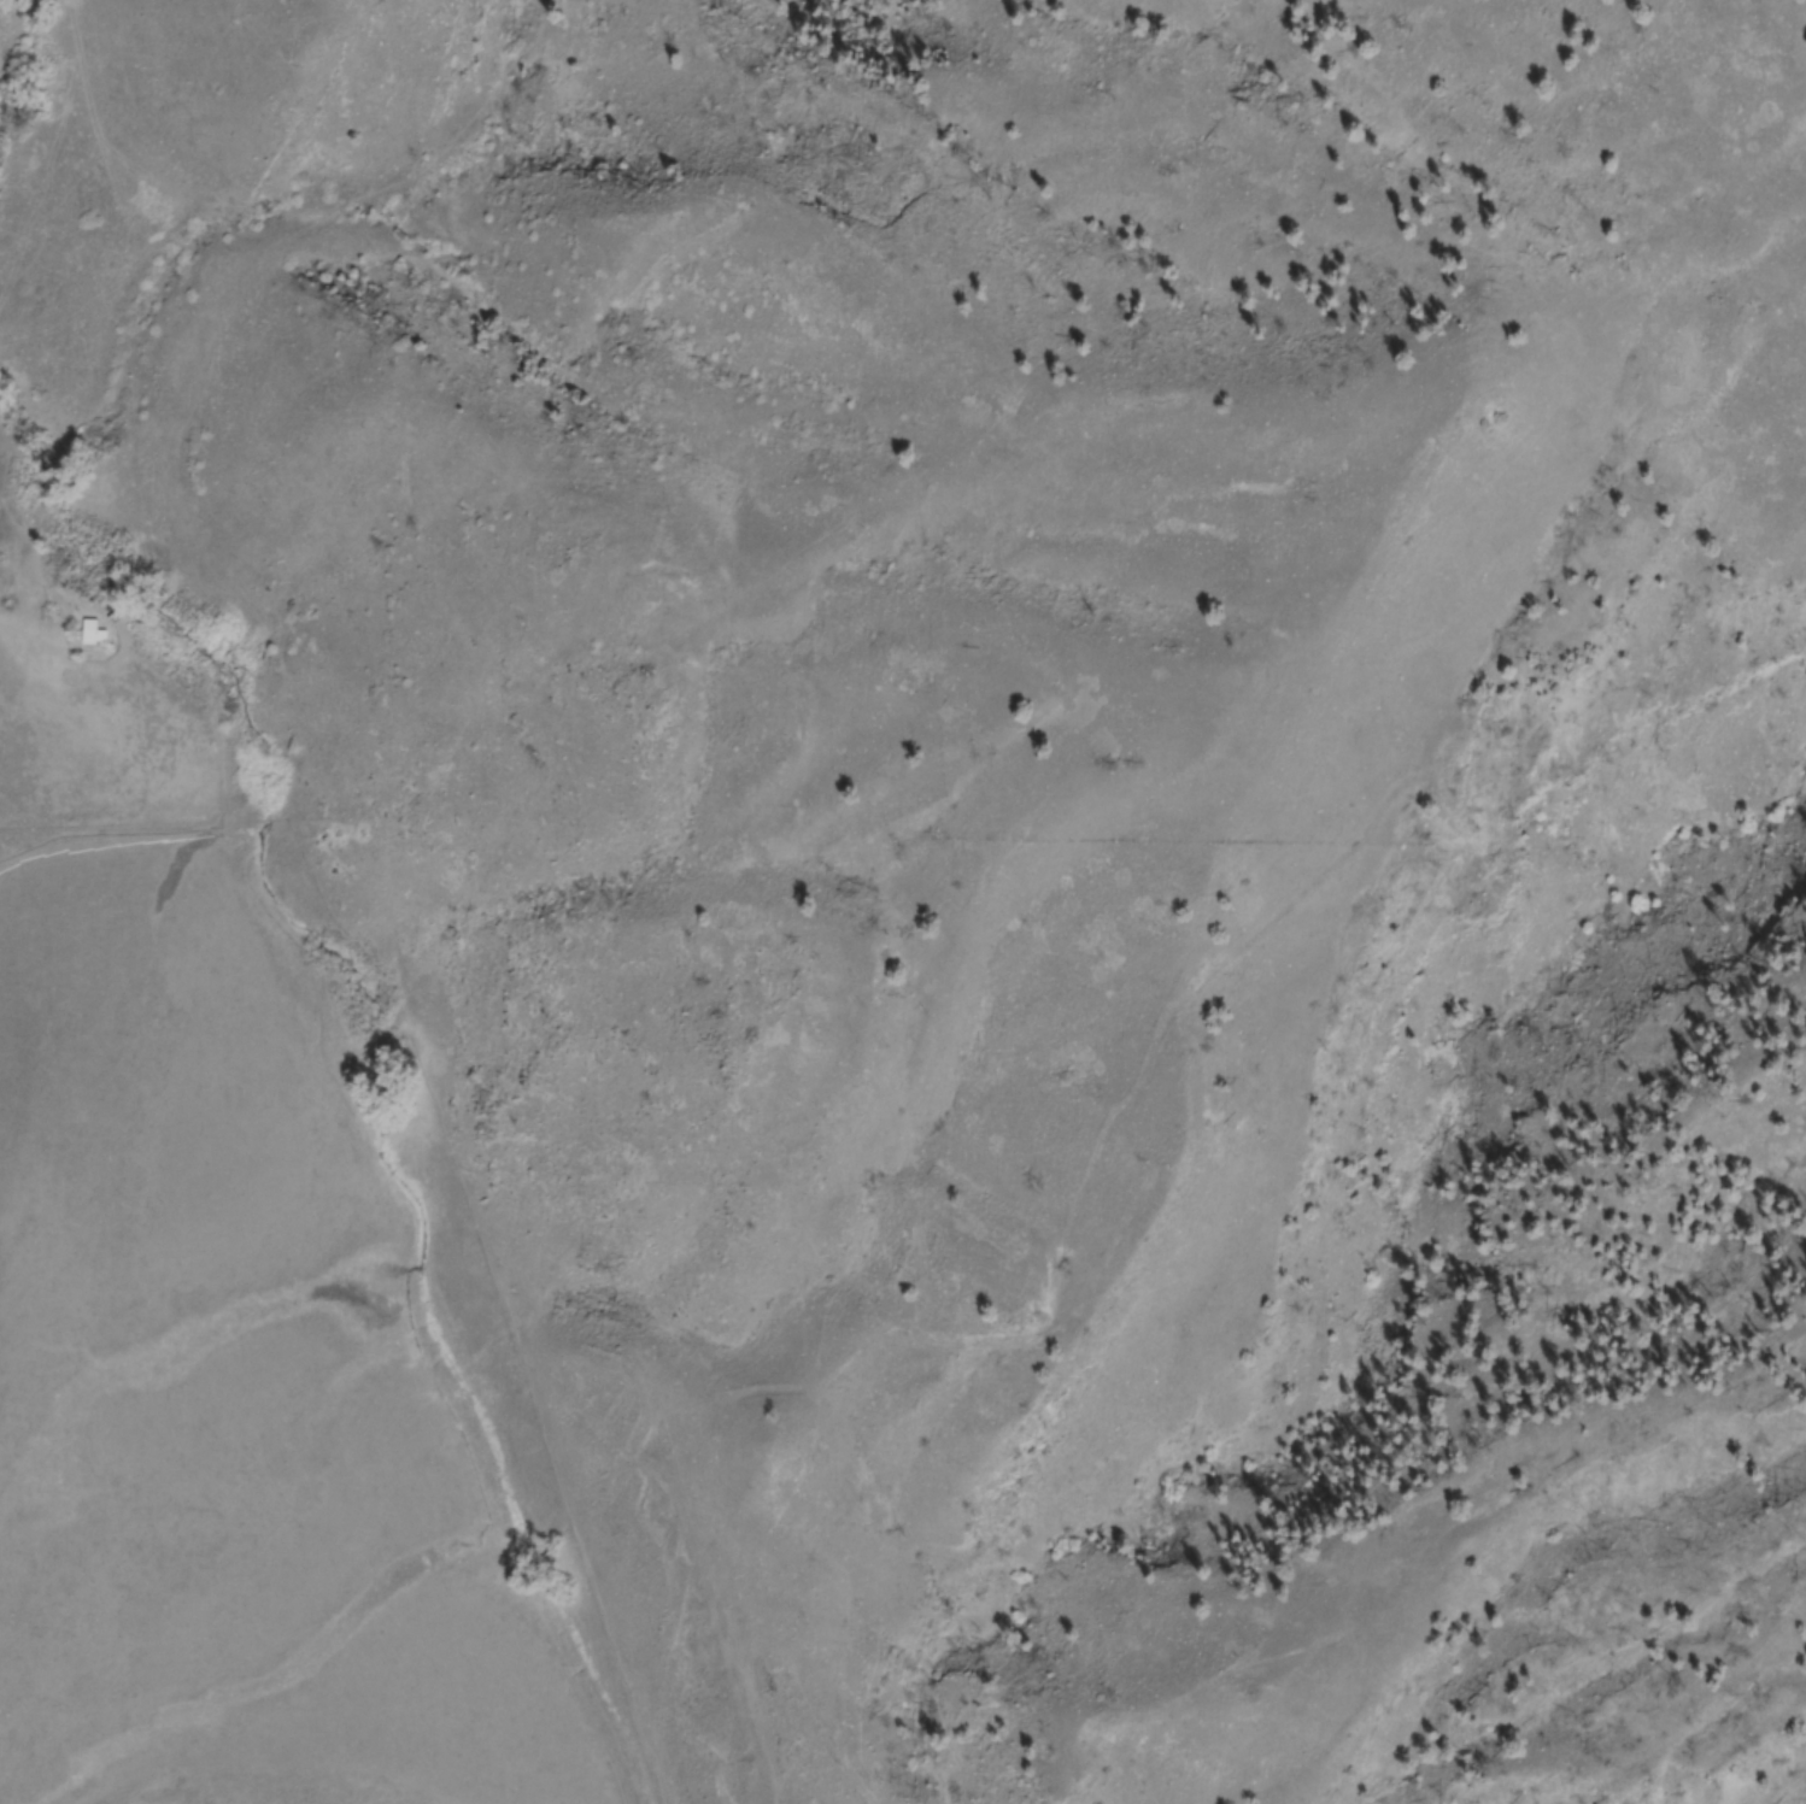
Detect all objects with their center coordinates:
building: (92, 636)

